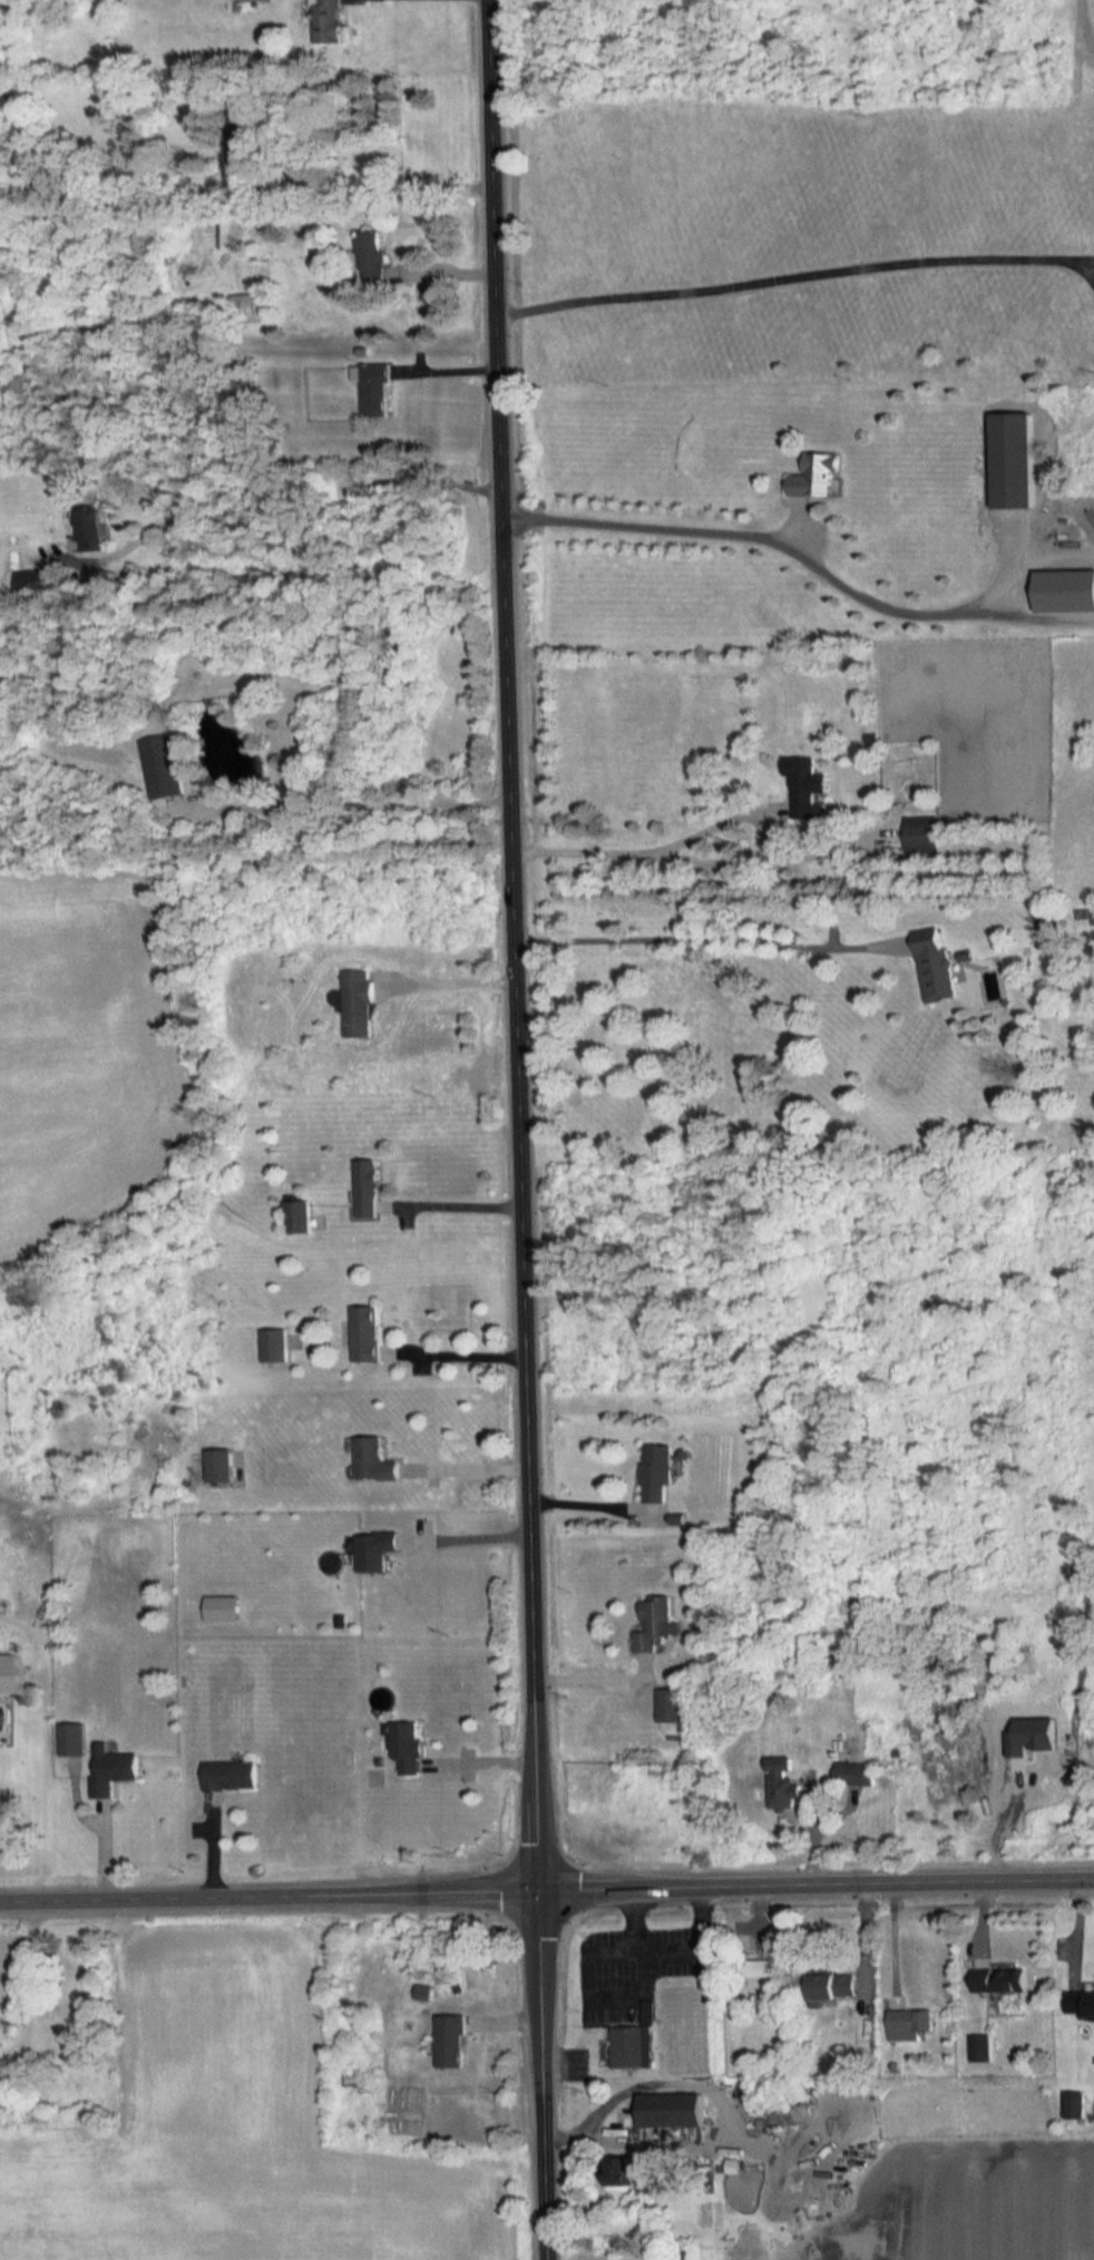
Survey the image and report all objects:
building: (328, 20)
building: (245, 131)
road: (378, 188)
building: (371, 255)
road: (800, 274)
building: (248, 306)
building: (374, 389)
building: (1009, 460)
building: (814, 476)
road: (299, 517)
building: (86, 527)
road: (780, 532)
building: (1064, 590)
building: (803, 783)
road: (364, 794)
building: (921, 833)
road: (649, 845)
building: (1048, 930)
road: (710, 931)
building: (935, 966)
road: (450, 976)
building: (355, 1002)
road: (529, 1129)
building: (363, 1186)
road: (465, 1197)
building: (293, 1214)
building: (362, 1331)
building: (271, 1343)
road: (470, 1354)
building: (370, 1458)
building: (215, 1464)
road: (473, 1467)
building: (654, 1471)
road: (598, 1498)
road: (475, 1537)
building: (371, 1549)
building: (653, 1623)
building: (667, 1704)
building: (70, 1738)
building: (403, 1745)
building: (109, 1768)
building: (852, 1771)
building: (228, 1773)
building: (781, 1783)
road: (546, 1885)
road: (666, 1946)
building: (753, 1958)
building: (997, 1978)
building: (831, 1986)
building: (1080, 2003)
building: (908, 2023)
building: (450, 2039)
building: (629, 2045)
building: (979, 2046)
building: (1072, 2103)
building: (670, 2109)
building: (624, 2171)

